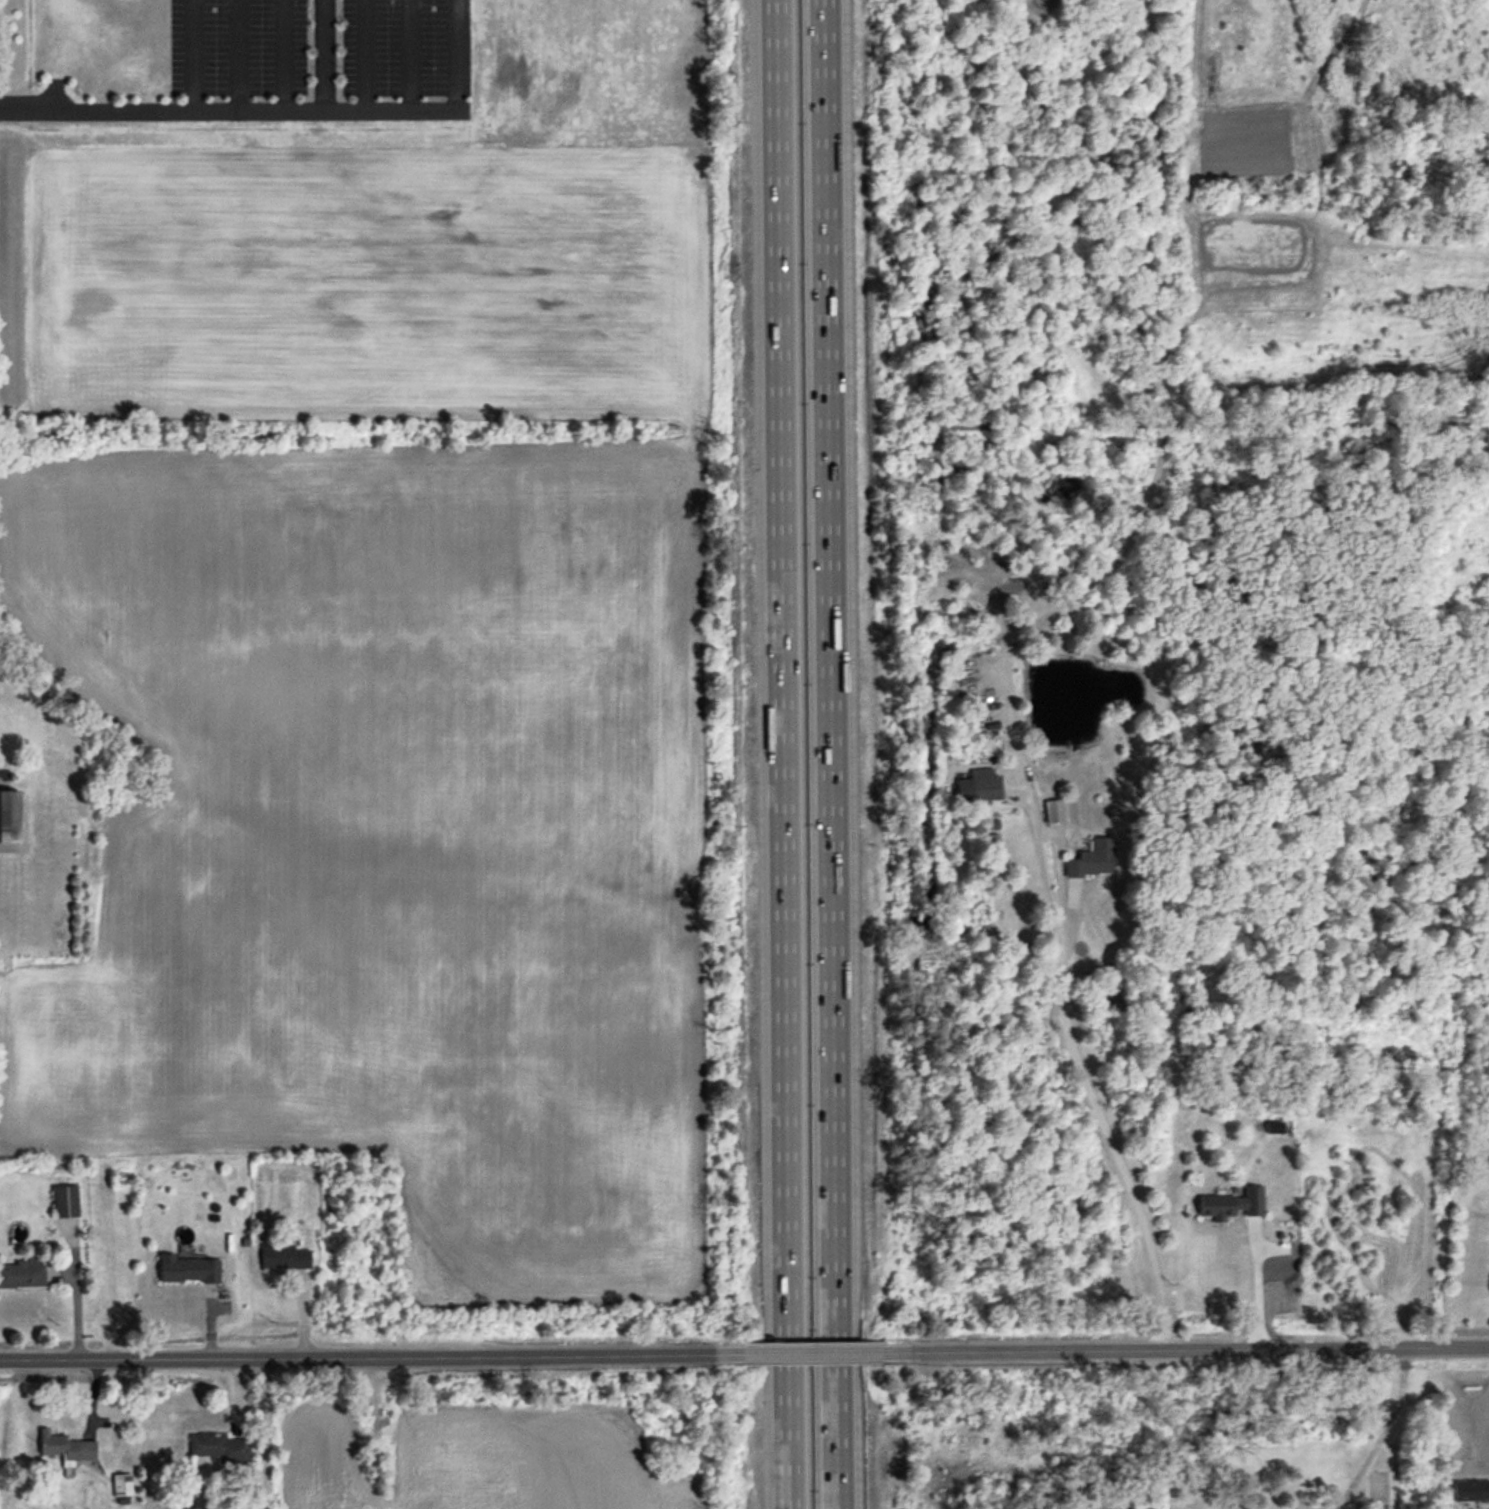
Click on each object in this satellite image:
road: (188, 55)
road: (280, 109)
road: (779, 754)
road: (837, 754)
building: (985, 790)
building: (1054, 812)
building: (9, 817)
building: (1093, 860)
road: (1105, 1132)
building: (64, 1203)
building: (1232, 1205)
building: (284, 1257)
building: (187, 1270)
building: (21, 1275)
road: (1254, 1286)
road: (1185, 1349)
road: (804, 1355)
road: (363, 1357)
road: (1379, 1422)
building: (218, 1448)
building: (65, 1449)
building: (121, 1486)
building: (1470, 1491)

